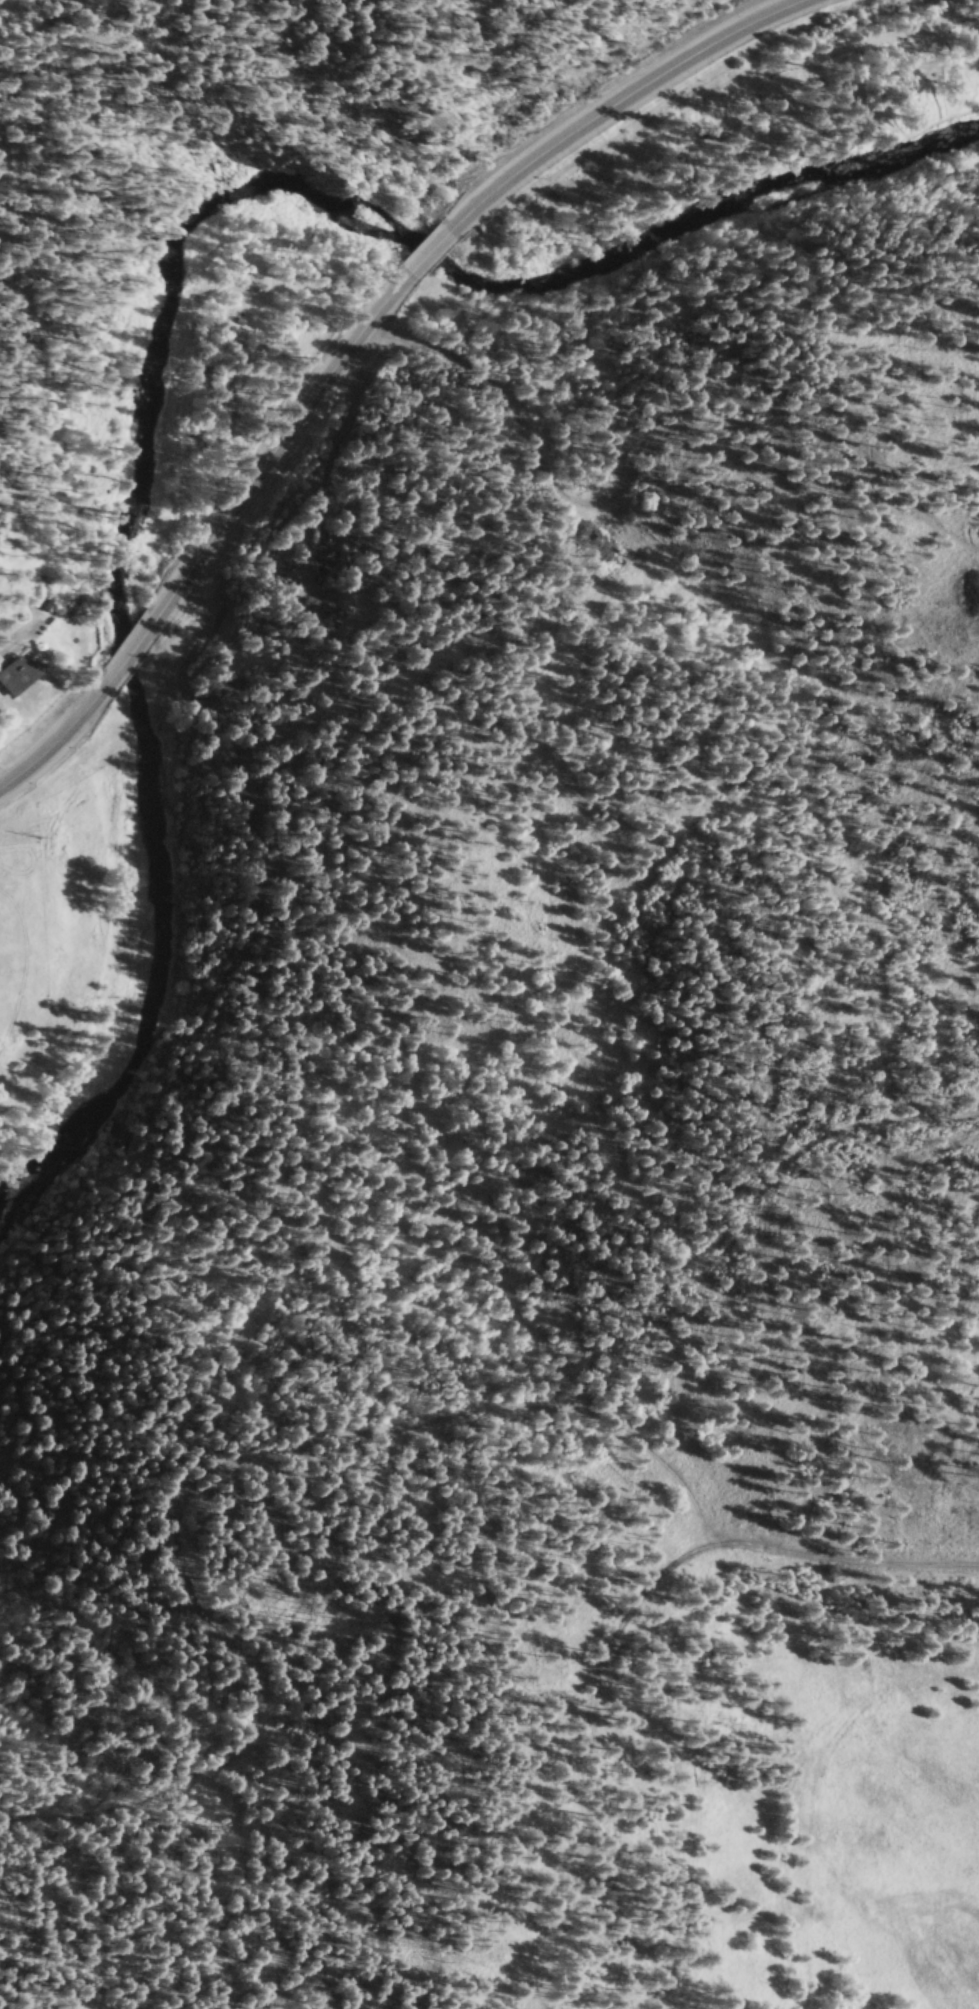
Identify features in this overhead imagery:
road: (856, 53)
road: (656, 89)
road: (448, 244)
road: (314, 486)
road: (208, 550)
building: (309, 610)
building: (17, 684)
road: (622, 1627)
road: (383, 1784)

